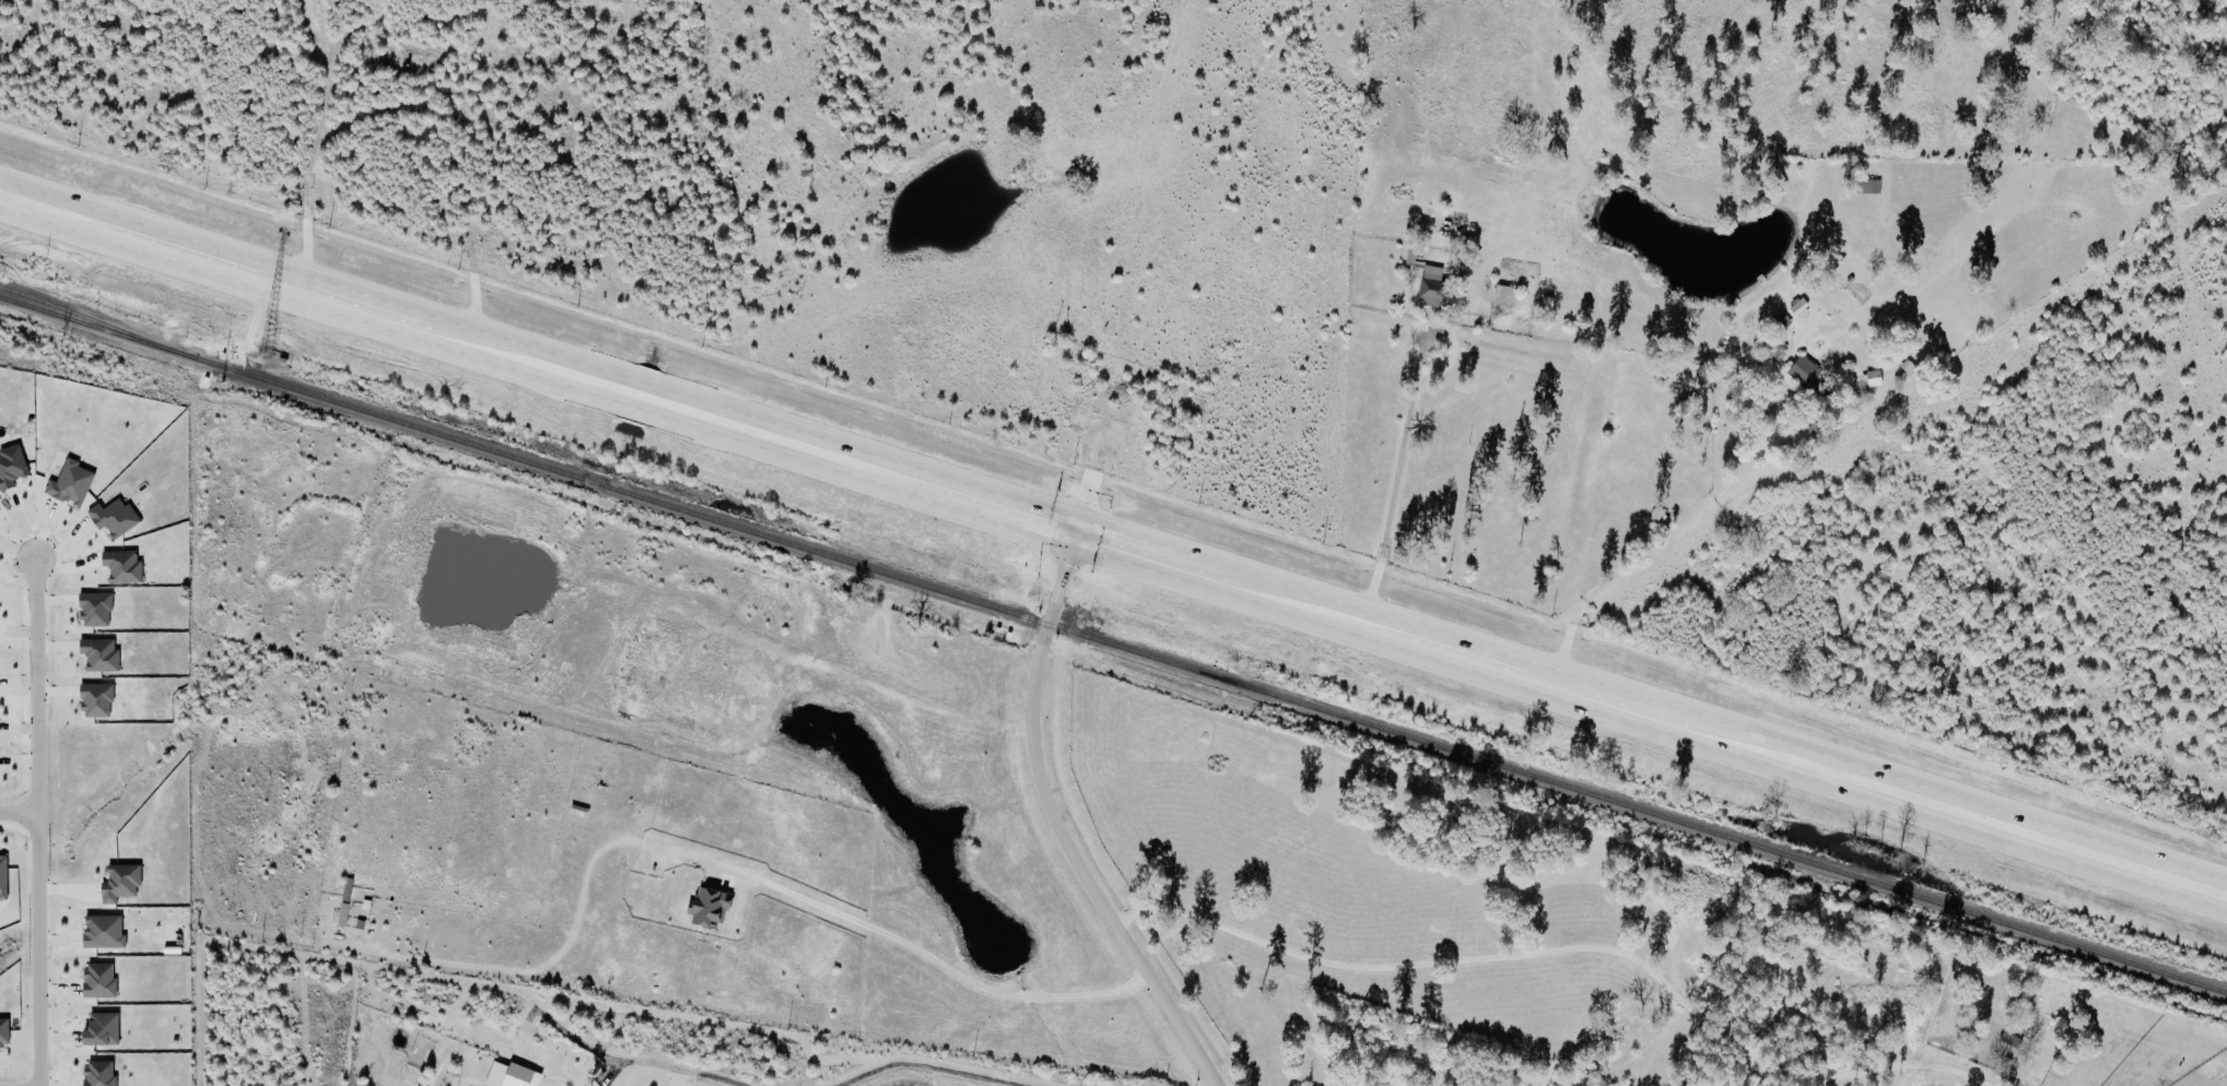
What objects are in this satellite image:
building: (1868, 186)
building: (1429, 279)
building: (1378, 280)
building: (1501, 290)
building: (1797, 308)
railway: (86, 319)
building: (1780, 323)
building: (1871, 380)
building: (1813, 382)
road: (2032, 410)
building: (11, 467)
road: (1395, 482)
building: (70, 483)
building: (113, 517)
road: (1113, 538)
road: (1653, 548)
building: (122, 566)
building: (94, 609)
railway: (1113, 647)
building: (98, 654)
building: (95, 700)
road: (16, 813)
road: (34, 822)
road: (1055, 822)
building: (3, 878)
building: (119, 883)
building: (707, 908)
building: (103, 932)
road: (1564, 951)
road: (928, 964)
building: (98, 980)
building: (101, 1030)
building: (3, 1031)
road: (629, 1063)
road: (917, 1070)
building: (98, 1074)
building: (519, 1076)

